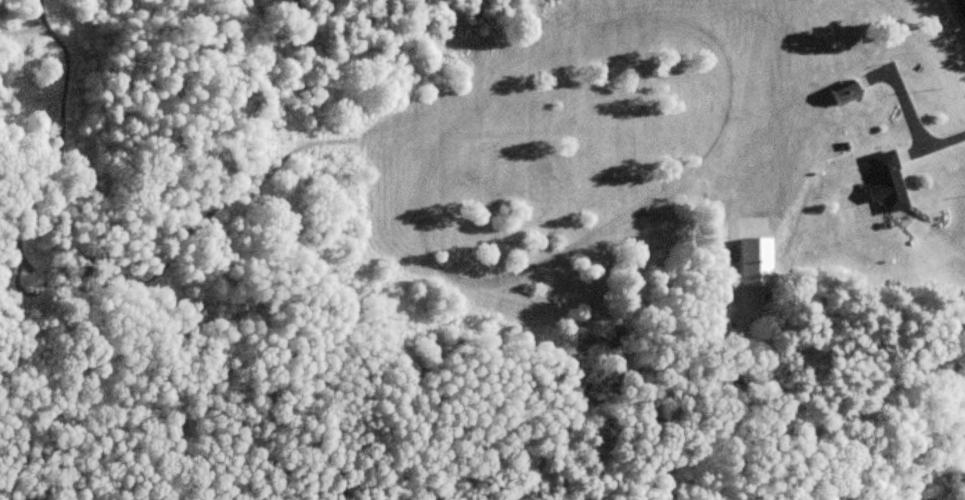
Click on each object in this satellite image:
road: (964, 0)
building: (886, 182)

